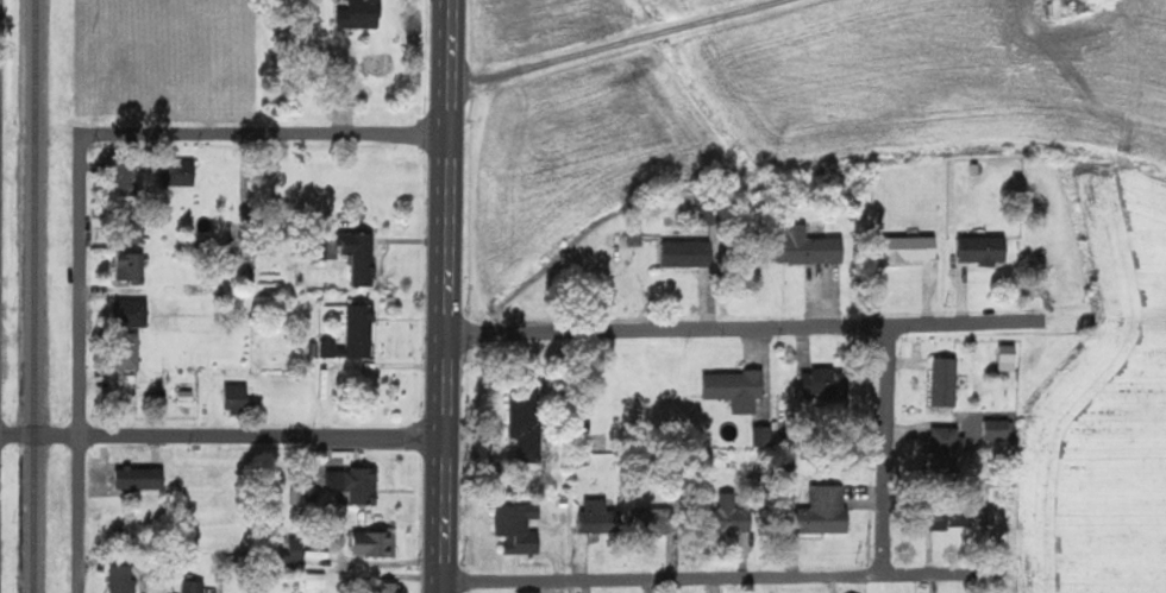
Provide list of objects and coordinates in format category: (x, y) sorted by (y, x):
building: (1091, 5)
building: (1061, 7)
building: (358, 18)
road: (614, 44)
road: (265, 133)
building: (182, 172)
building: (130, 178)
building: (136, 228)
building: (807, 245)
building: (911, 248)
building: (985, 250)
building: (363, 256)
building: (132, 266)
railway: (37, 296)
road: (447, 296)
building: (133, 313)
road: (966, 323)
road: (671, 329)
building: (353, 334)
road: (80, 362)
building: (947, 381)
building: (827, 383)
building: (239, 397)
building: (528, 425)
building: (997, 429)
road: (222, 435)
building: (764, 436)
building: (948, 449)
road: (890, 450)
building: (142, 477)
building: (358, 484)
building: (827, 509)
building: (948, 515)
building: (585, 517)
building: (520, 528)
building: (375, 543)
building: (305, 549)
road: (726, 576)
building: (125, 579)
building: (318, 580)
building: (194, 586)
building: (387, 587)
building: (532, 592)

